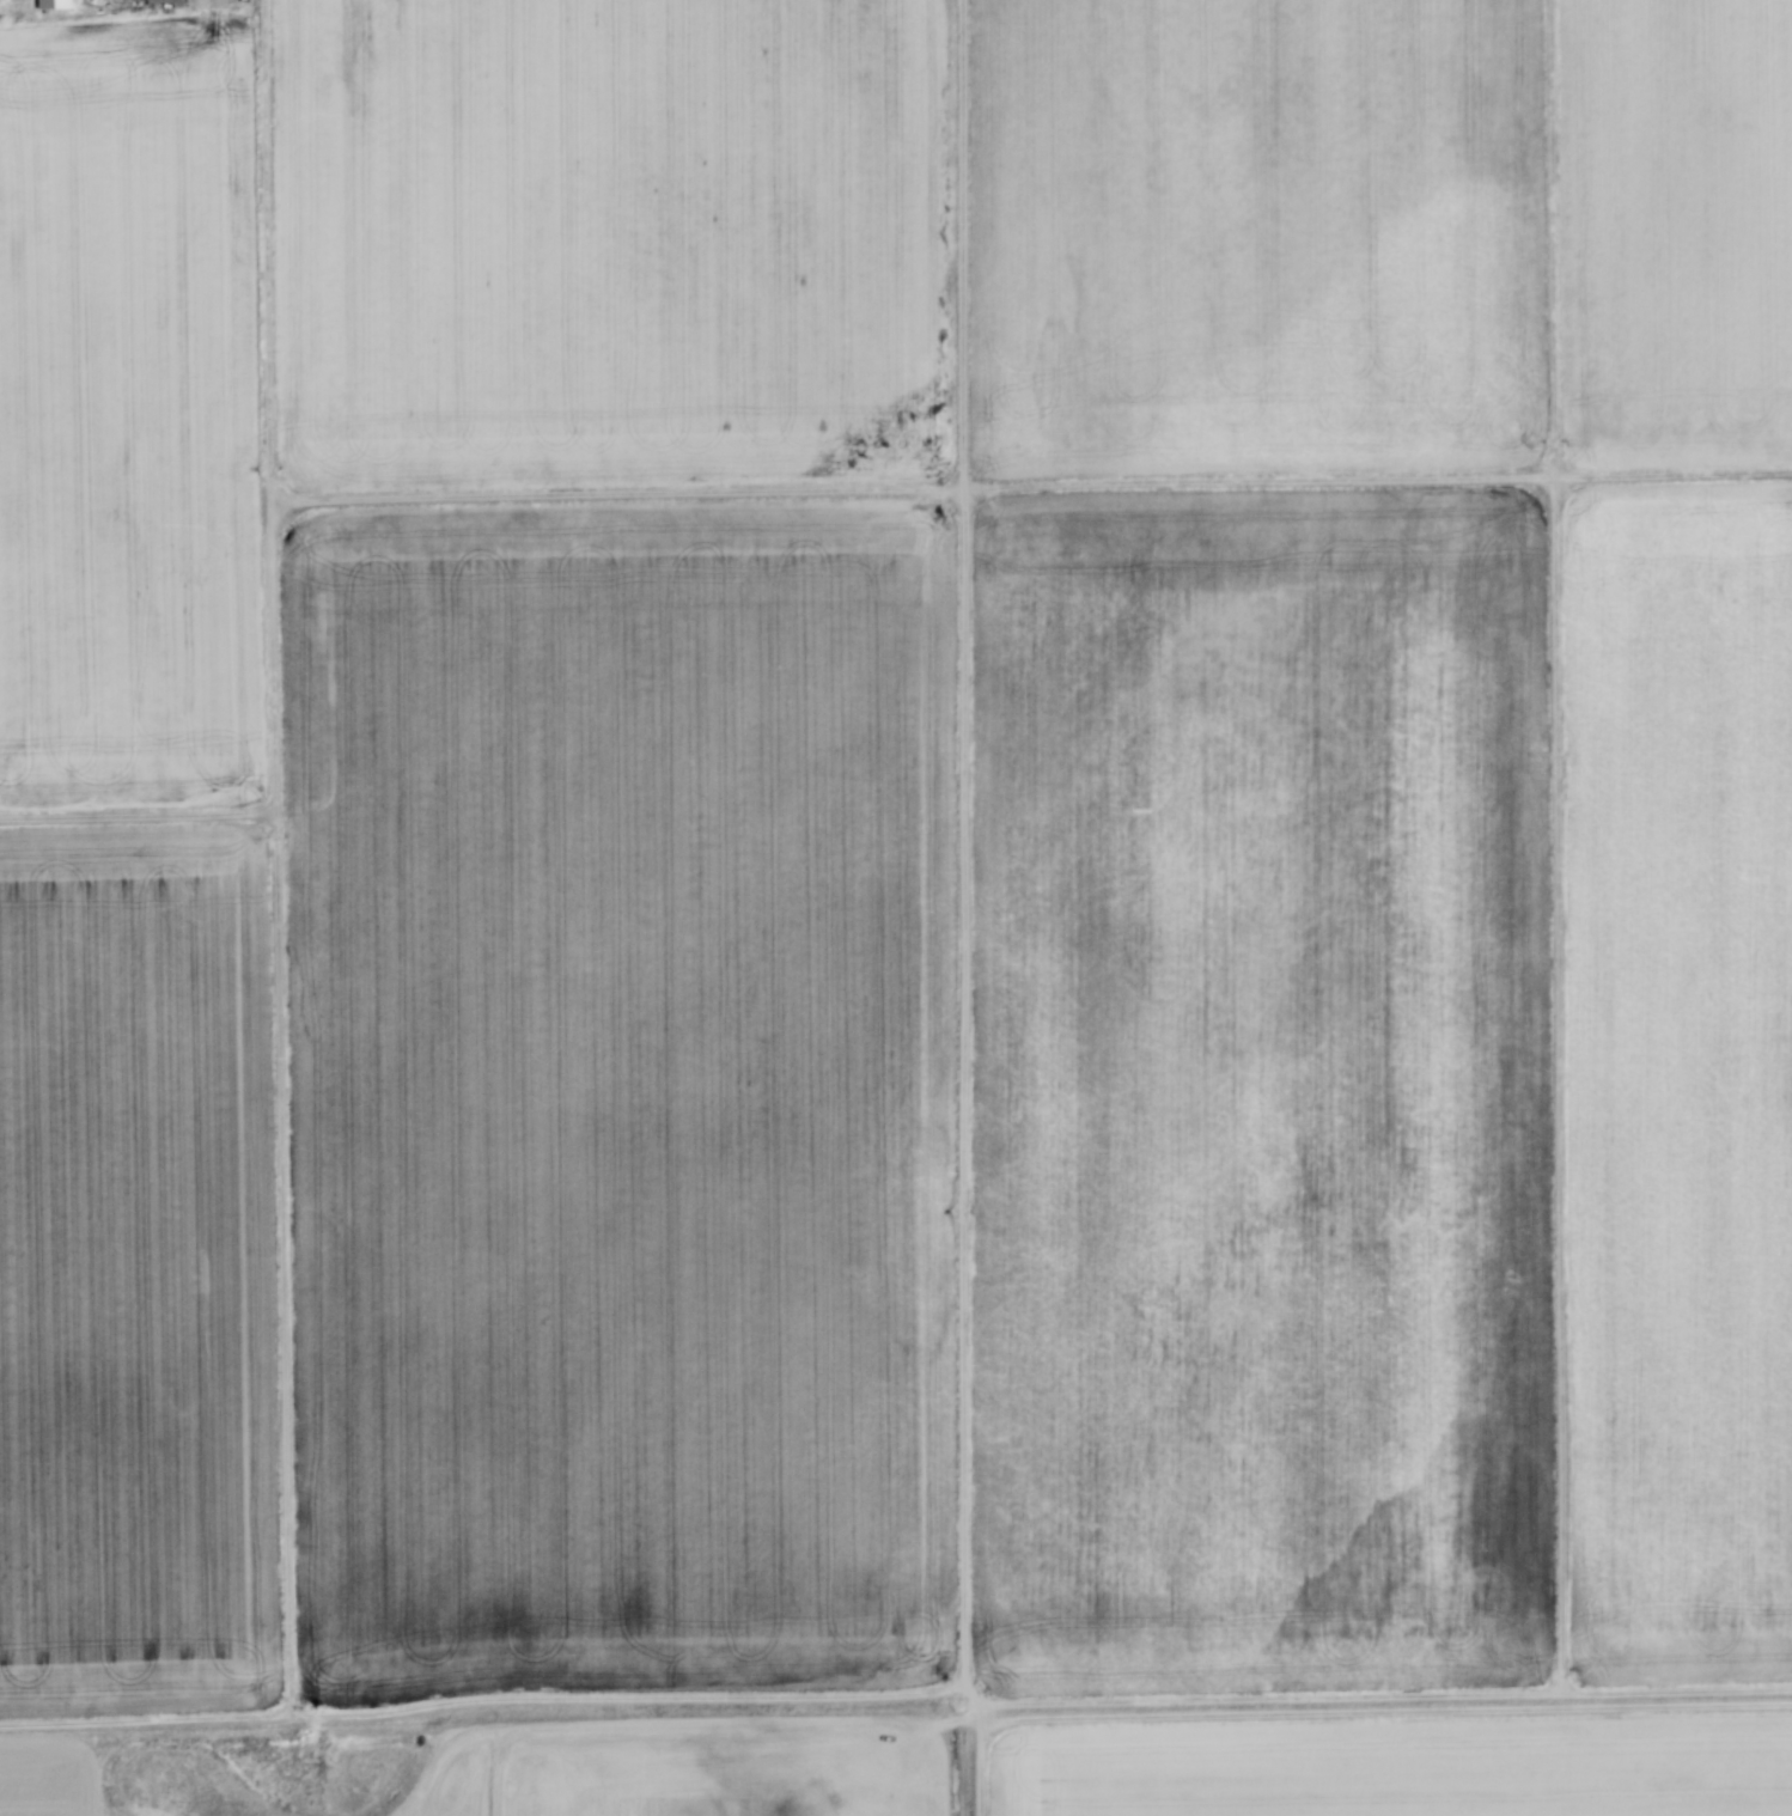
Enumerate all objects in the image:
building: (54, 4)

